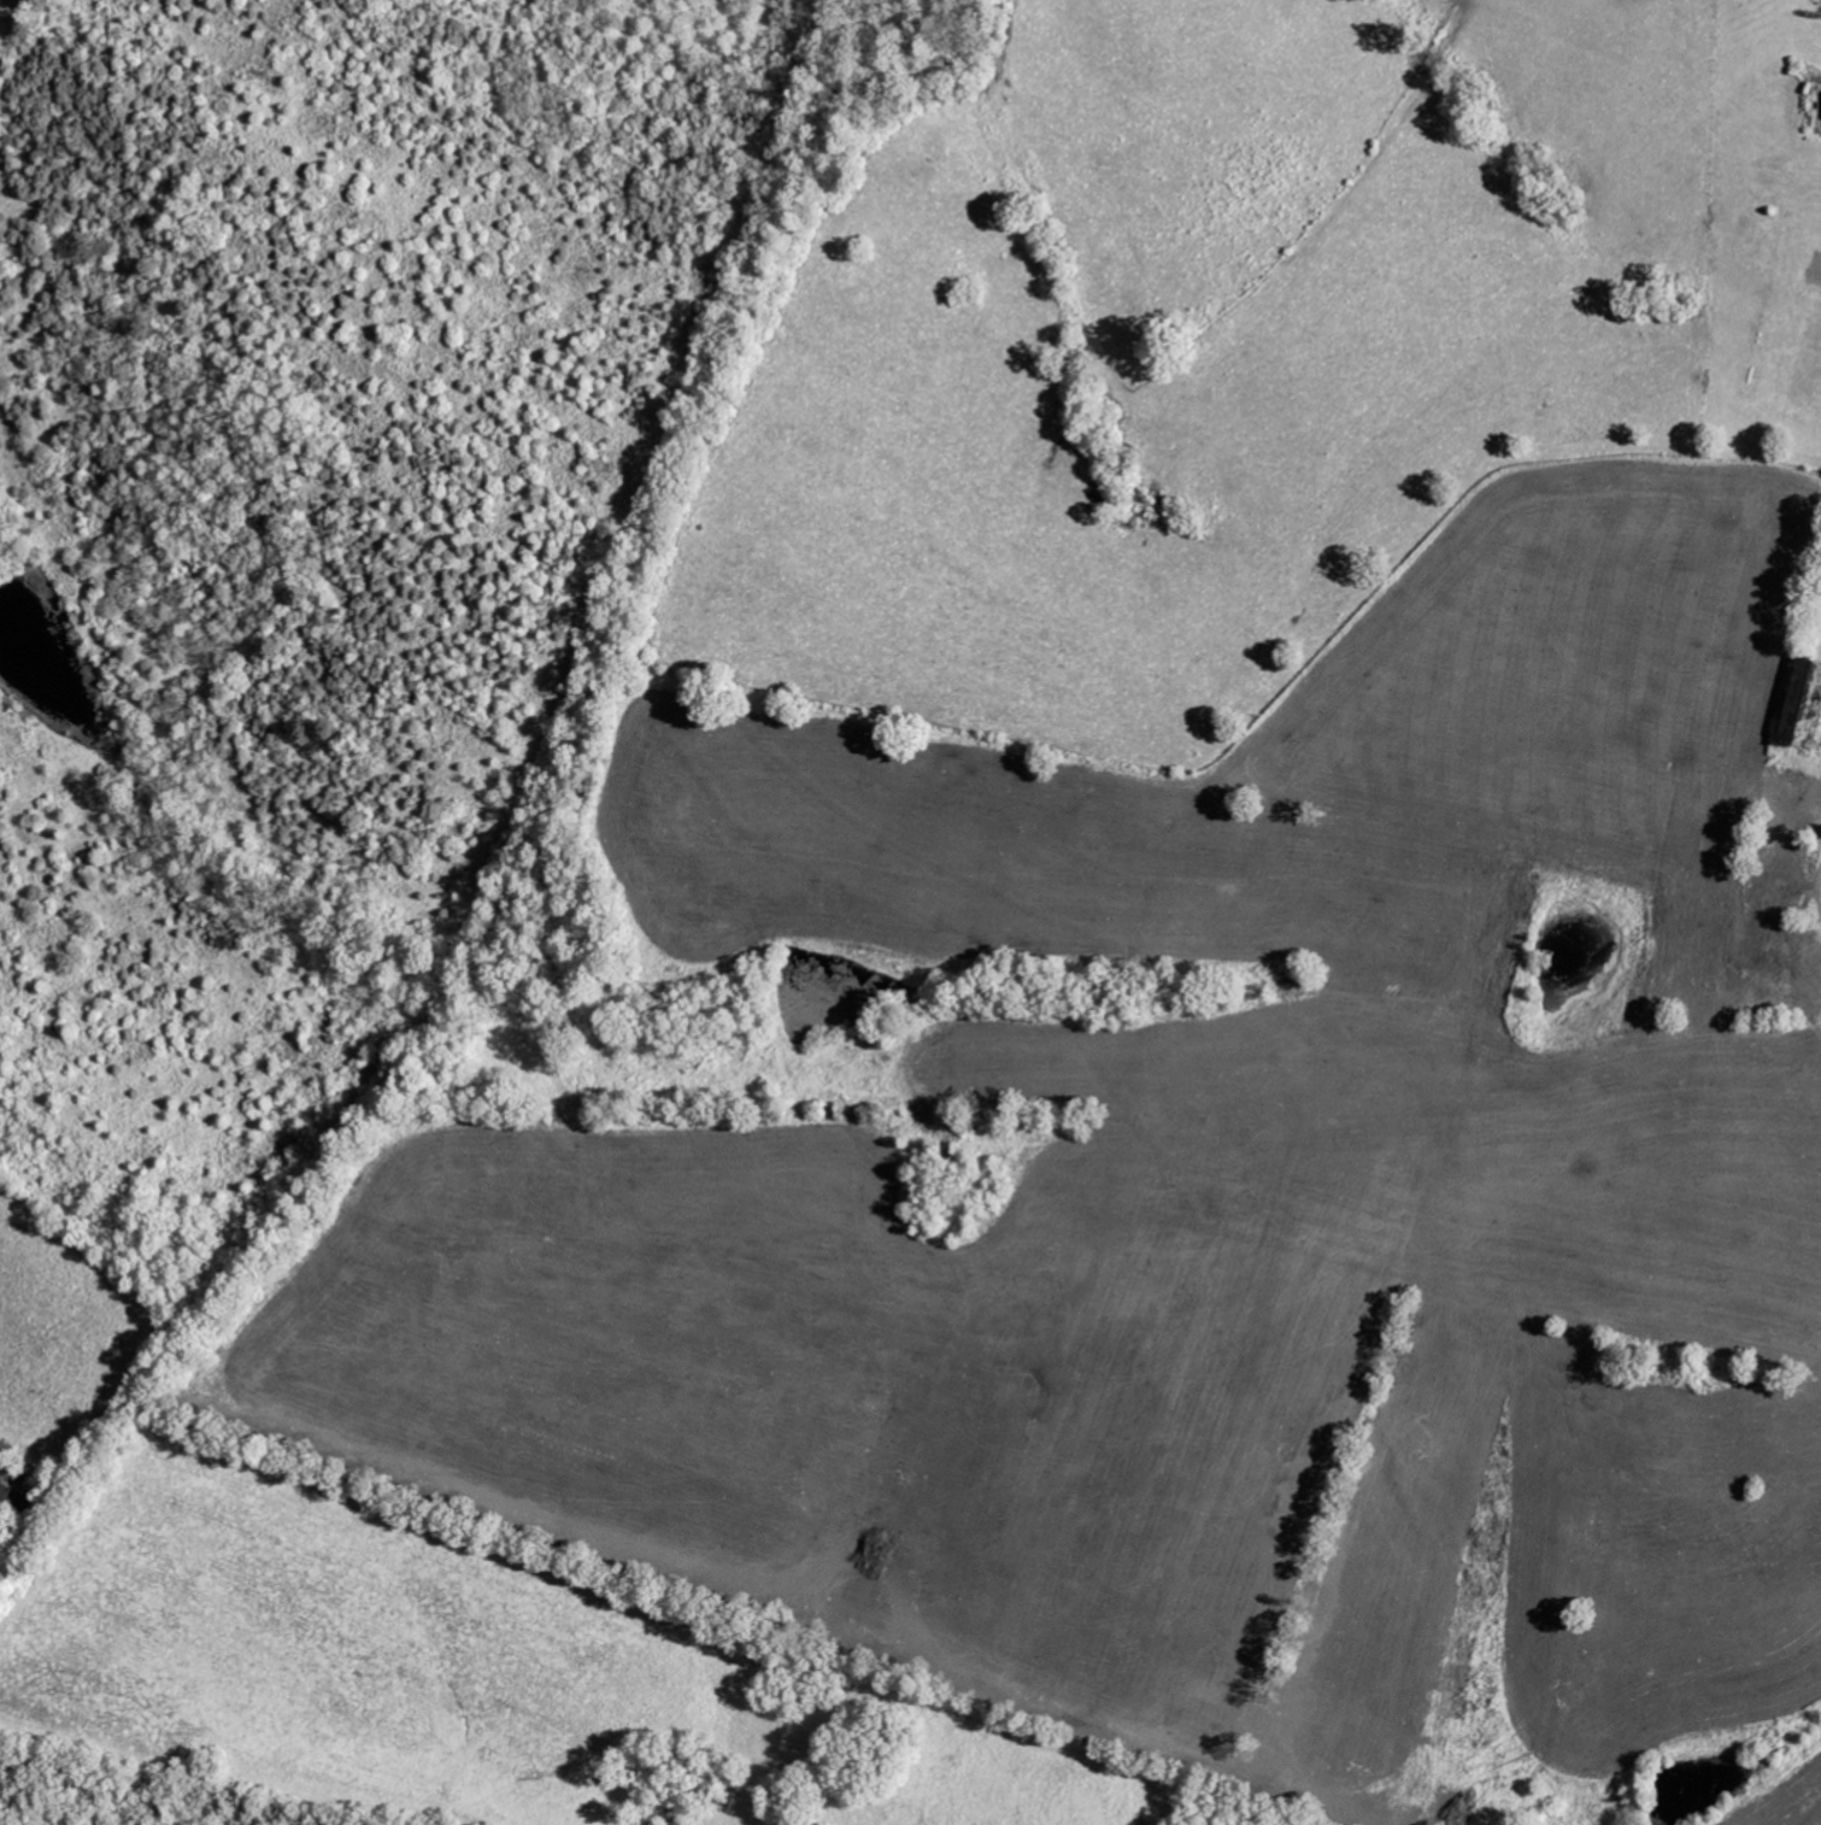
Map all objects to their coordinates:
building: (1808, 705)

